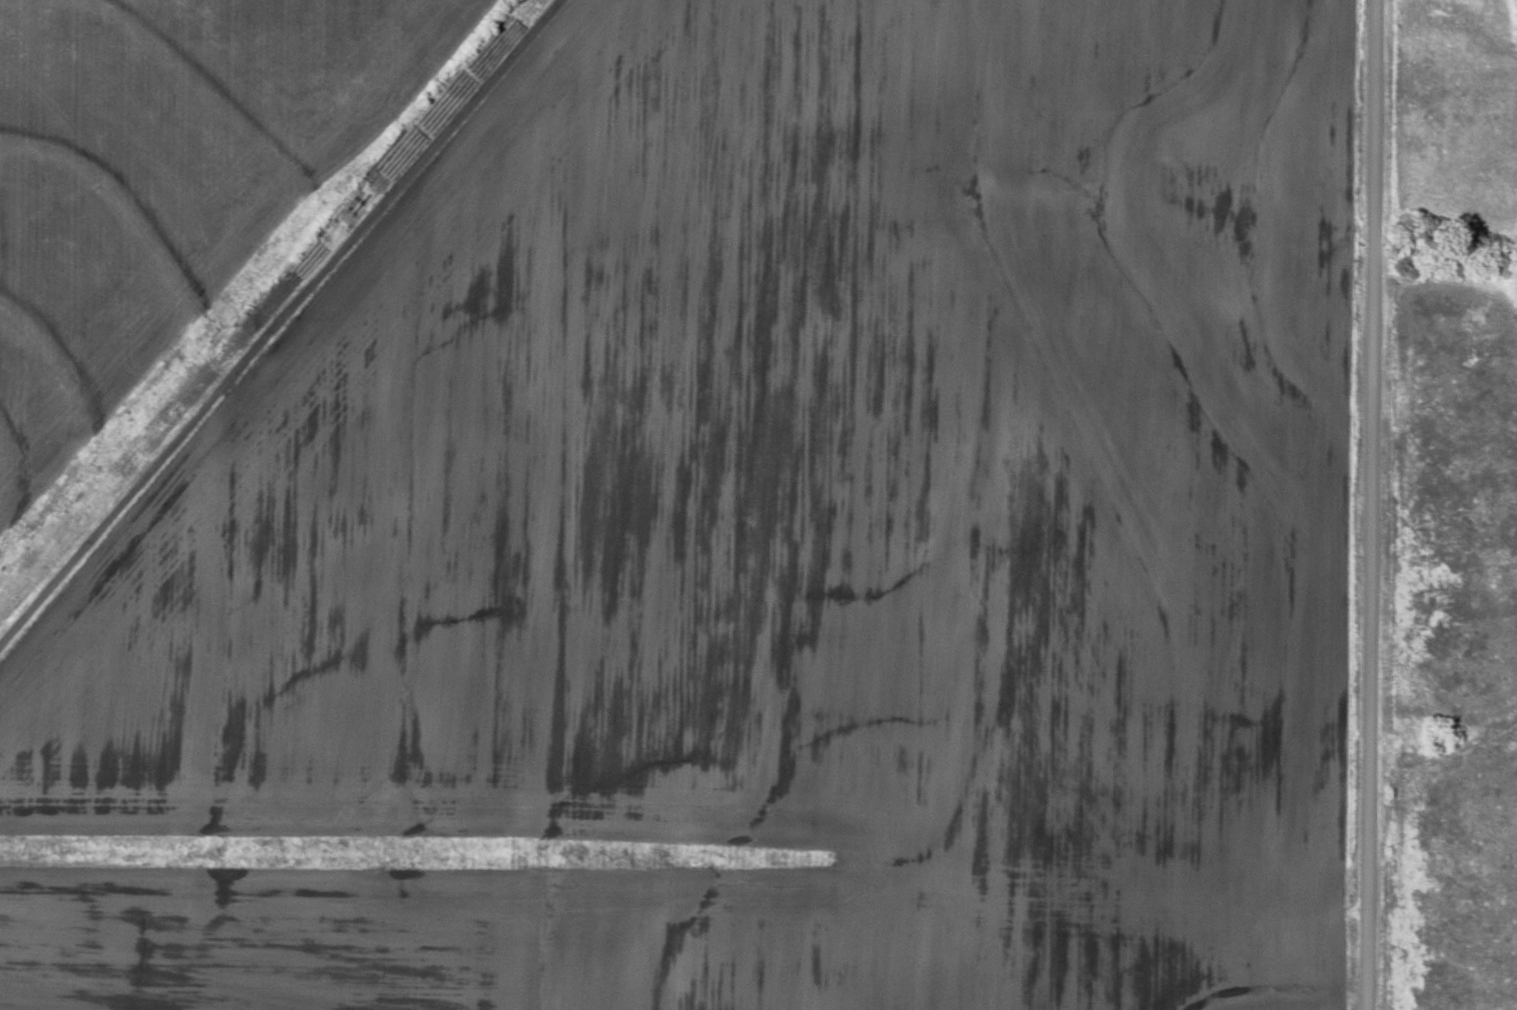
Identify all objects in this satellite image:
road: (1369, 505)
crop: (768, 541)

